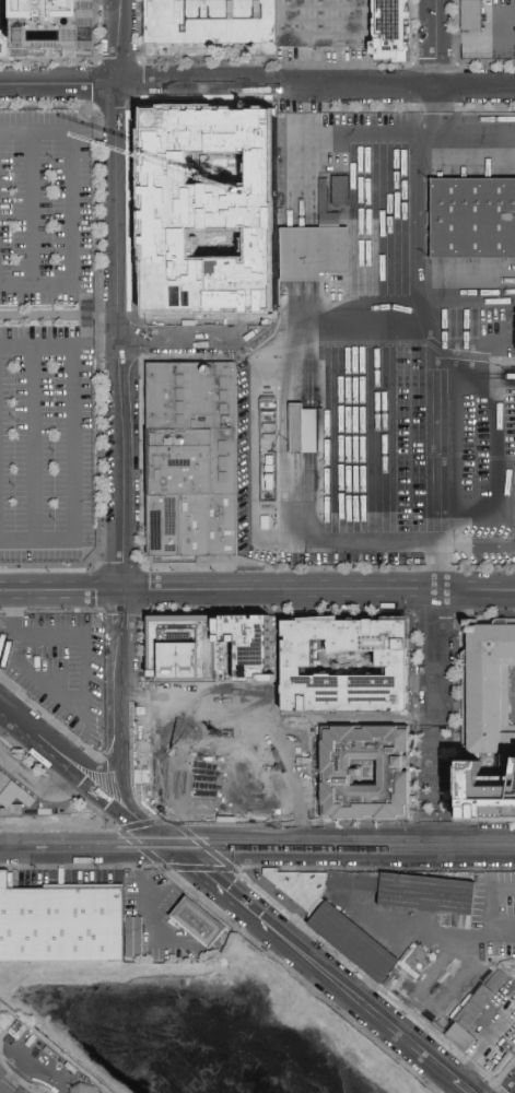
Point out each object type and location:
building: (471, 15)
building: (212, 21)
building: (325, 21)
building: (401, 28)
building: (49, 31)
road: (487, 39)
road: (122, 42)
road: (441, 44)
road: (61, 84)
road: (318, 86)
road: (377, 136)
road: (164, 137)
road: (207, 137)
building: (343, 187)
road: (241, 189)
building: (271, 208)
road: (33, 209)
road: (73, 209)
building: (473, 219)
building: (316, 252)
building: (199, 255)
road: (49, 314)
parking lot: (46, 336)
road: (100, 336)
road: (125, 337)
road: (183, 337)
road: (431, 362)
road: (280, 363)
building: (304, 430)
road: (390, 440)
road: (35, 443)
road: (73, 443)
building: (190, 456)
road: (63, 589)
road: (321, 590)
road: (51, 610)
road: (13, 624)
building: (214, 649)
road: (435, 655)
building: (309, 658)
parking lot: (60, 666)
road: (83, 690)
road: (125, 698)
road: (1, 707)
road: (50, 717)
road: (363, 719)
building: (488, 720)
building: (187, 726)
road: (60, 753)
building: (273, 768)
building: (349, 769)
road: (436, 781)
road: (37, 786)
building: (15, 789)
building: (191, 792)
road: (103, 813)
road: (147, 823)
railway: (257, 838)
road: (199, 843)
railway: (288, 843)
road: (370, 844)
railway: (278, 847)
railway: (20, 848)
railway: (20, 849)
road: (87, 856)
building: (321, 882)
road: (141, 885)
building: (432, 890)
building: (198, 922)
building: (66, 924)
road: (237, 926)
road: (443, 932)
building: (356, 939)
road: (321, 967)
building: (476, 1011)
road: (4, 1039)
road: (36, 1063)
road: (5, 1074)
road: (14, 1076)
railway: (8, 1086)
building: (86, 1086)
road: (511, 1088)

